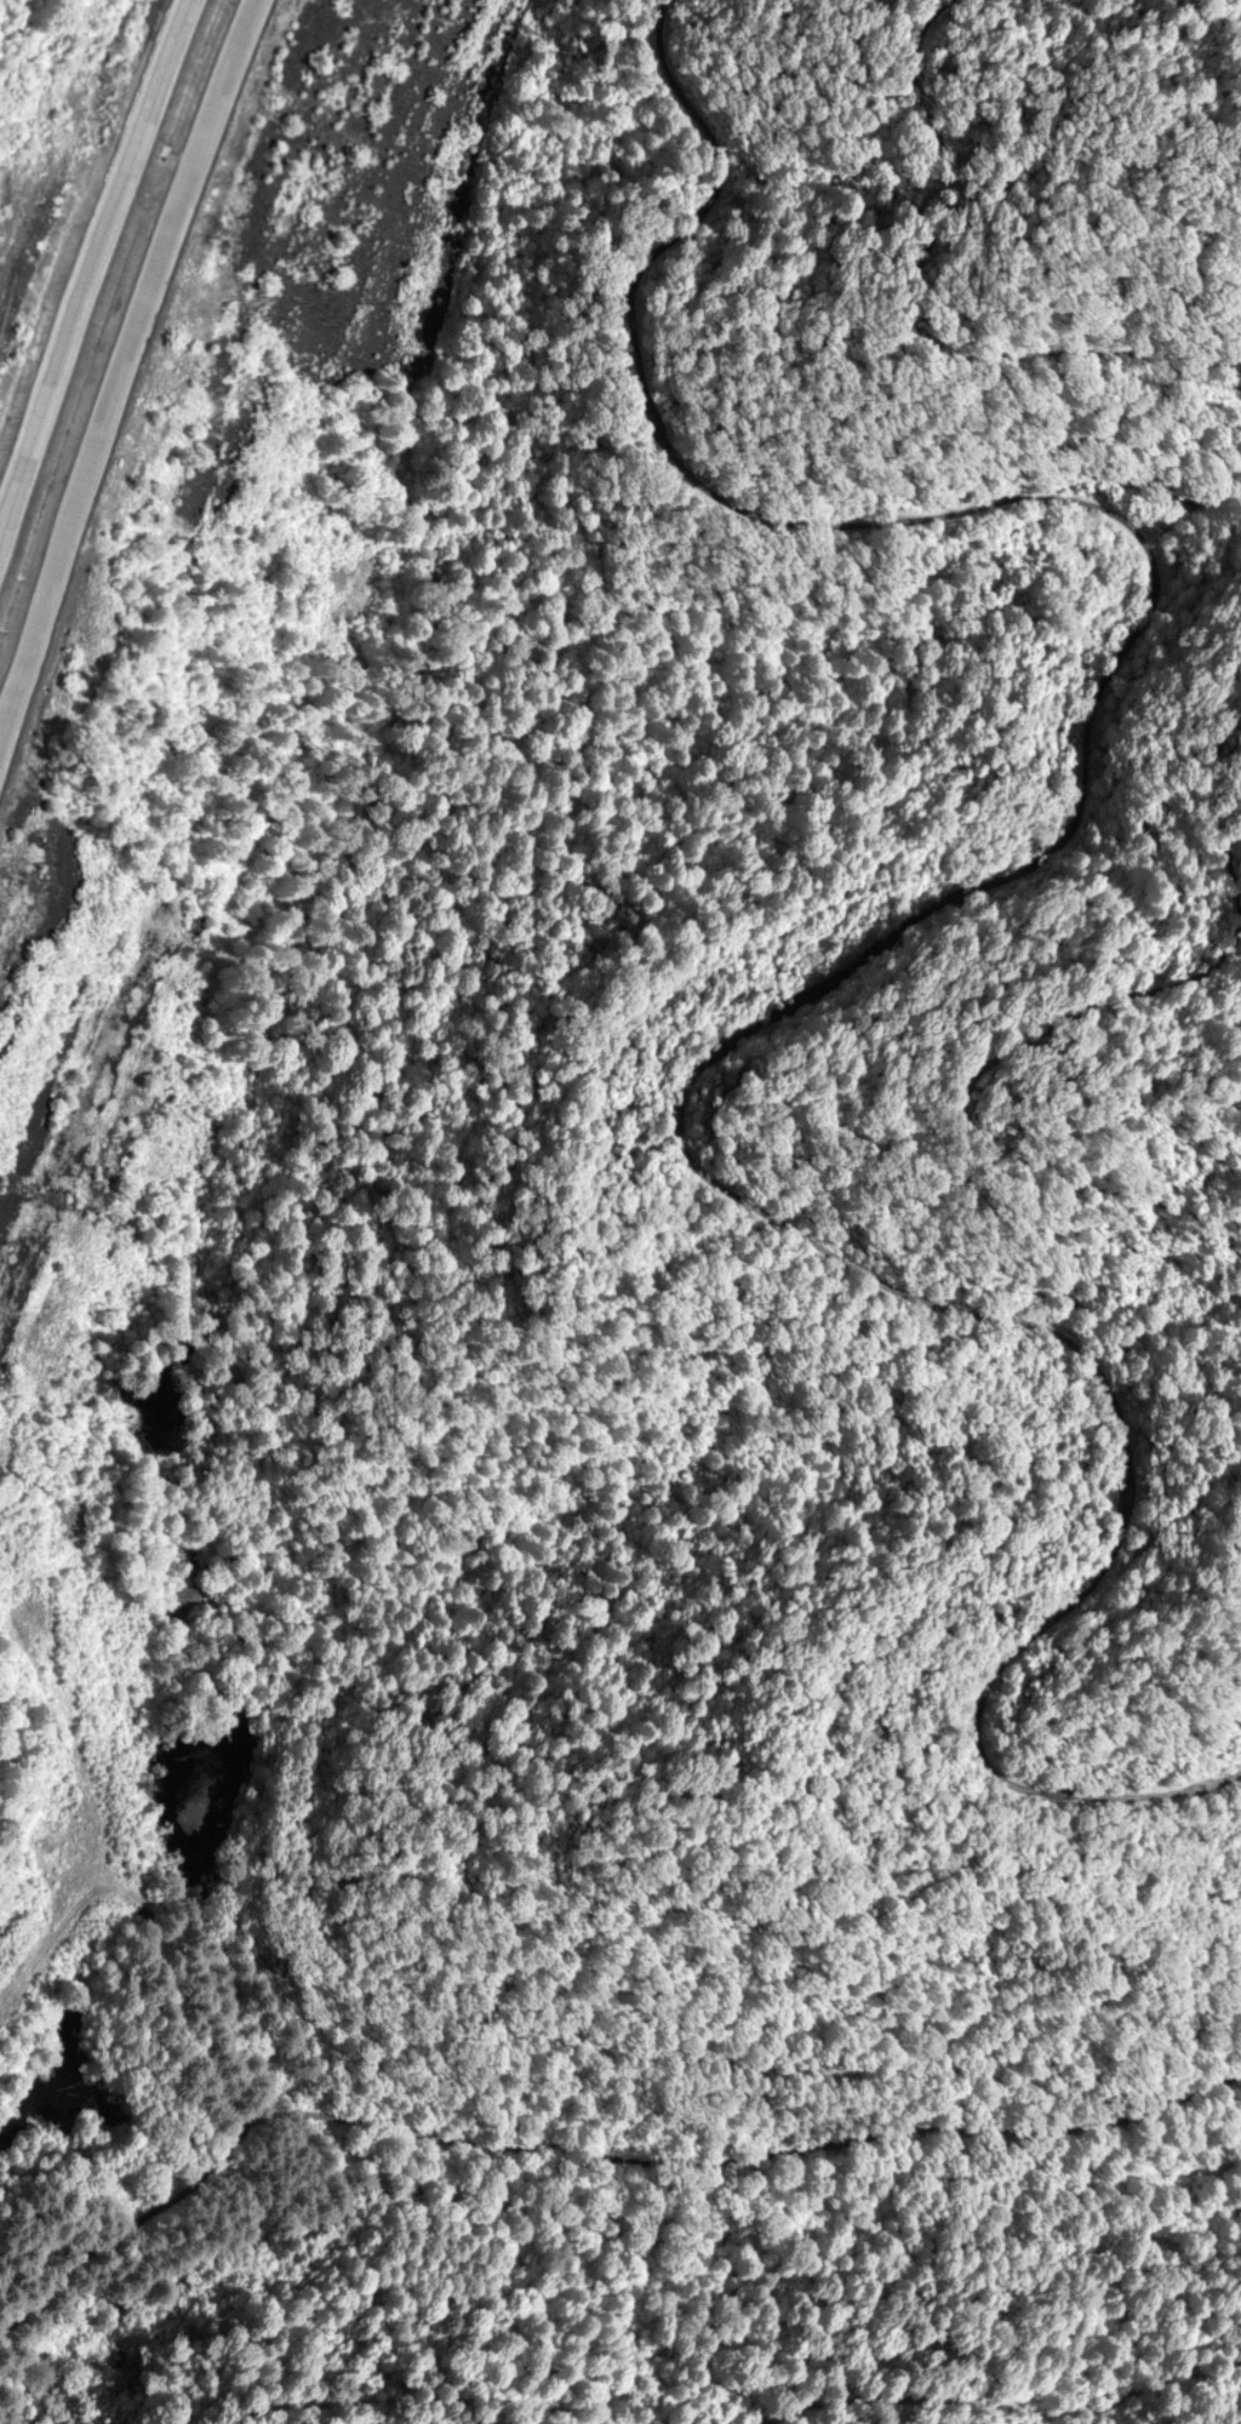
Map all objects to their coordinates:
road: (93, 275)
road: (119, 355)
quarry: (107, 669)

